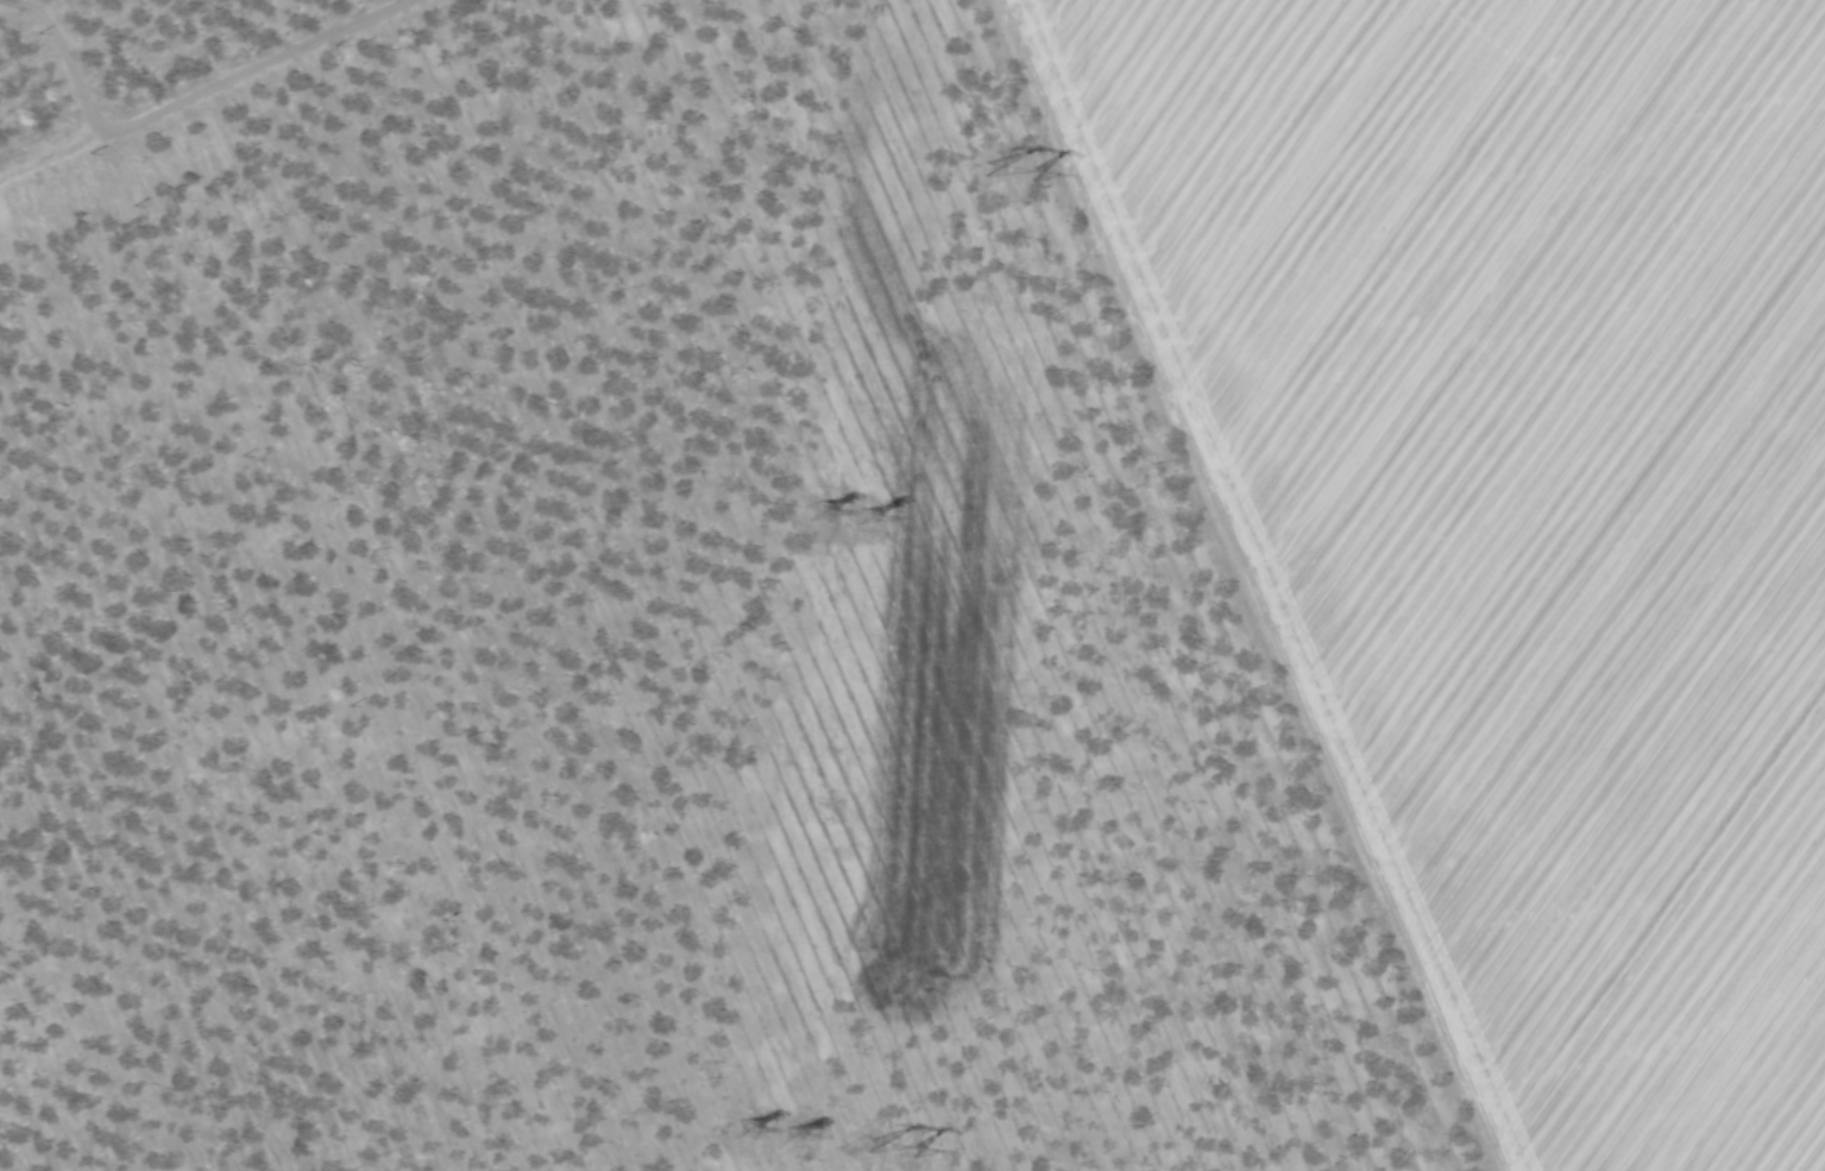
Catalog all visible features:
road: (45, 13)
road: (59, 63)
road: (204, 93)
power tower: (1013, 175)
power tower: (819, 514)
power tower: (867, 516)
road: (1256, 583)
power tower: (747, 1132)
power tower: (791, 1137)
power tower: (893, 1152)

